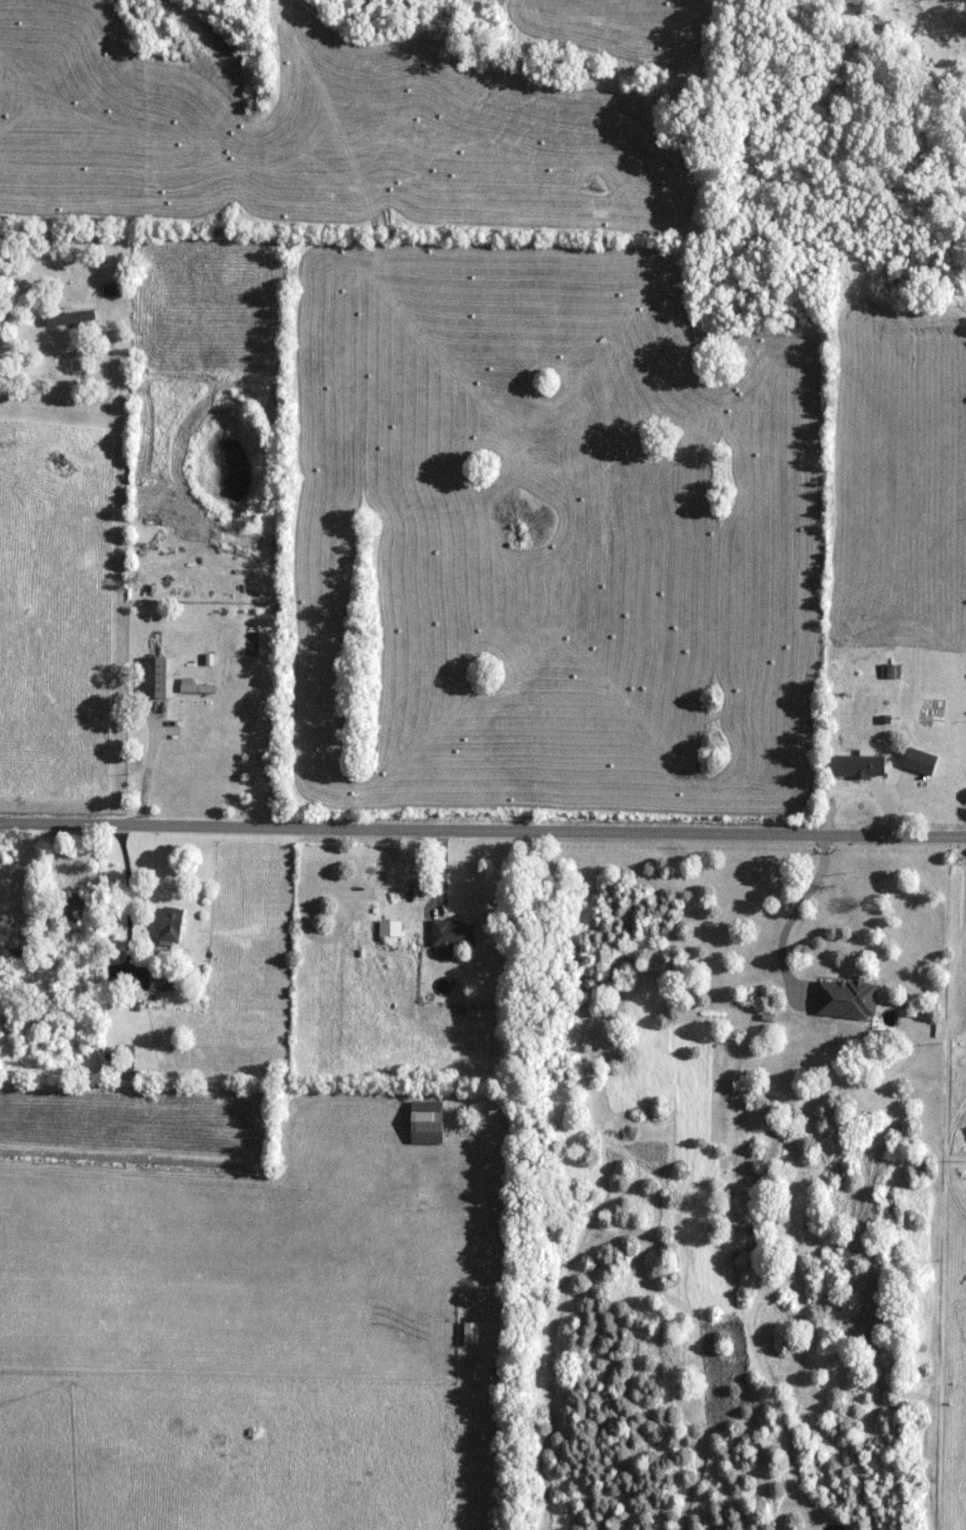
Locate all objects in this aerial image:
building: (105, 293)
building: (71, 318)
road: (94, 398)
building: (892, 671)
building: (156, 677)
building: (196, 687)
building: (860, 767)
road: (143, 768)
road: (482, 828)
building: (74, 911)
building: (171, 926)
building: (393, 929)
building: (452, 937)
building: (18, 956)
building: (162, 980)
building: (128, 1056)
building: (427, 1116)
building: (472, 1333)

